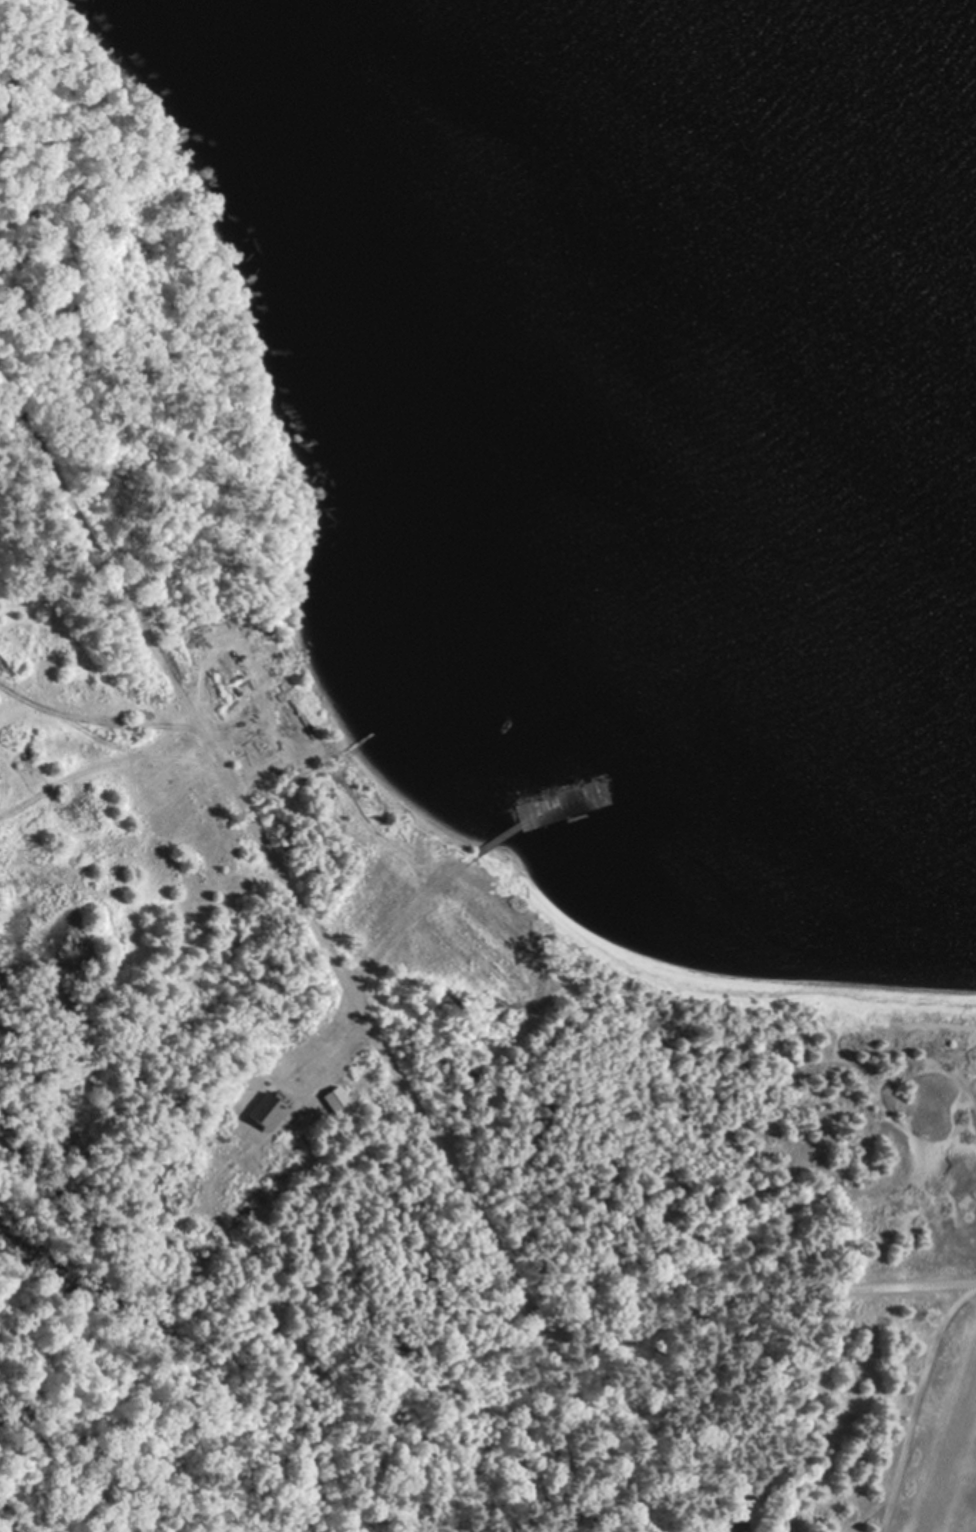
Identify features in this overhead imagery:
park: (144, 334)
road: (100, 713)
road: (274, 861)
building: (270, 1111)
road: (754, 1295)
road: (919, 1406)
airport: (901, 1412)
road: (524, 1434)
airport runway: (958, 1476)

